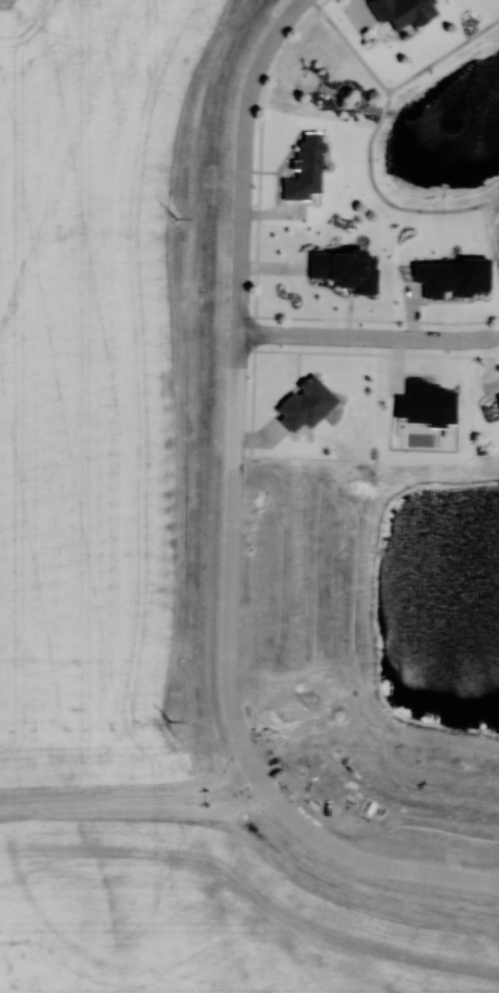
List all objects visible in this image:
road: (271, 40)
road: (350, 45)
road: (443, 56)
road: (386, 98)
road: (383, 111)
road: (398, 206)
power tower: (176, 221)
road: (368, 338)
road: (234, 428)
power tower: (169, 724)
road: (354, 863)

